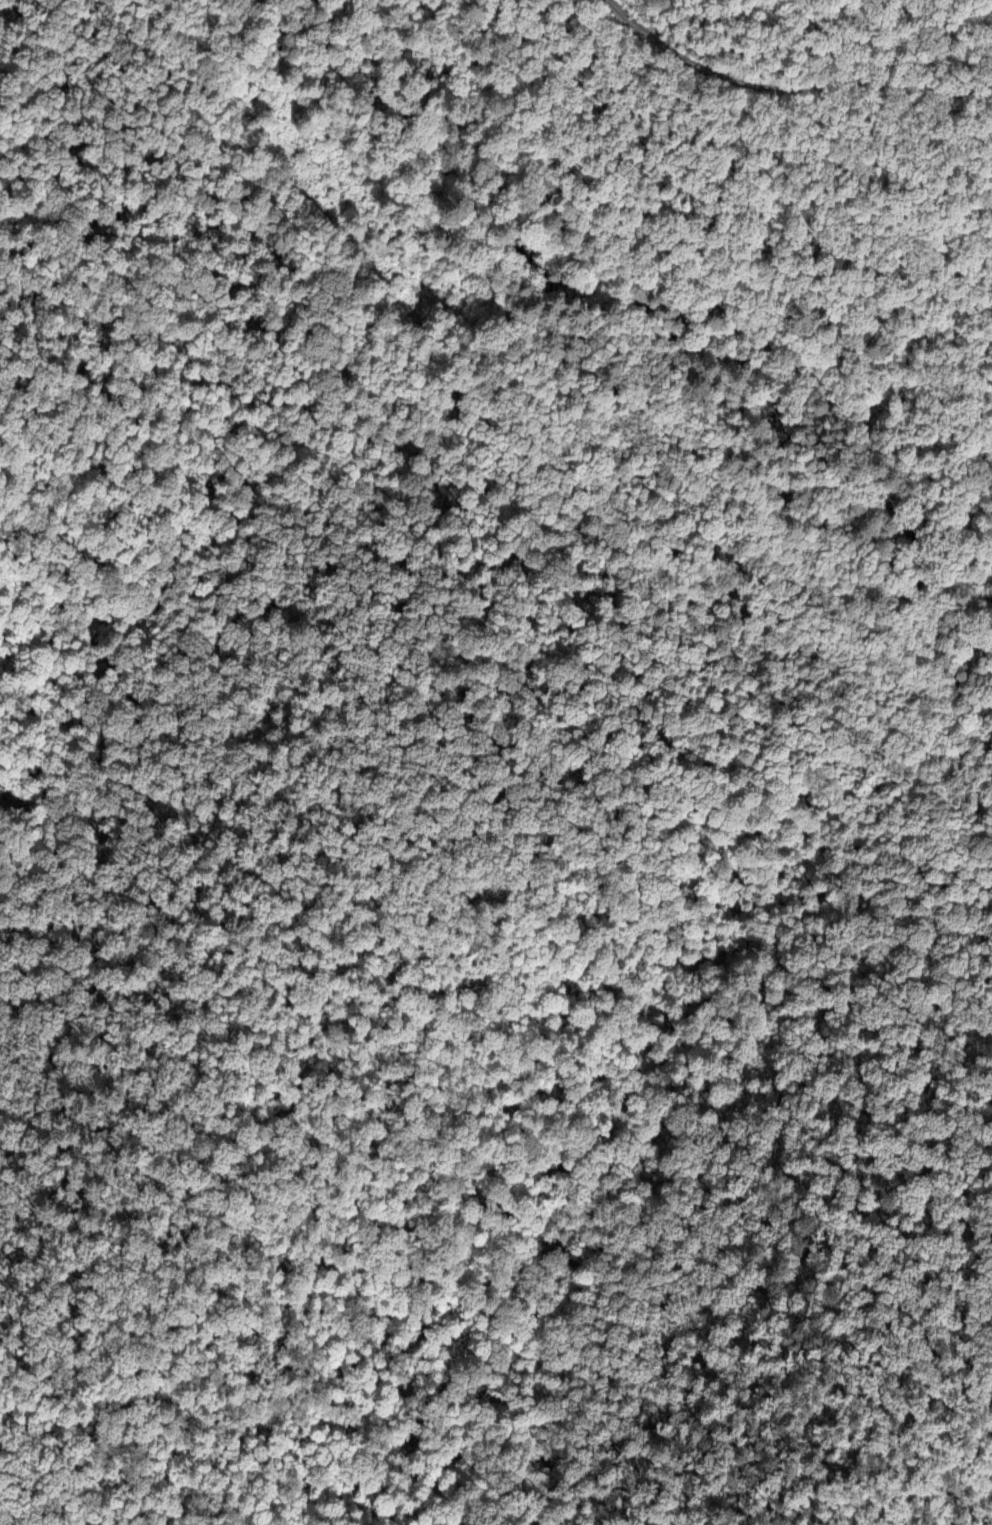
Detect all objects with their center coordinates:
road: (787, 85)

